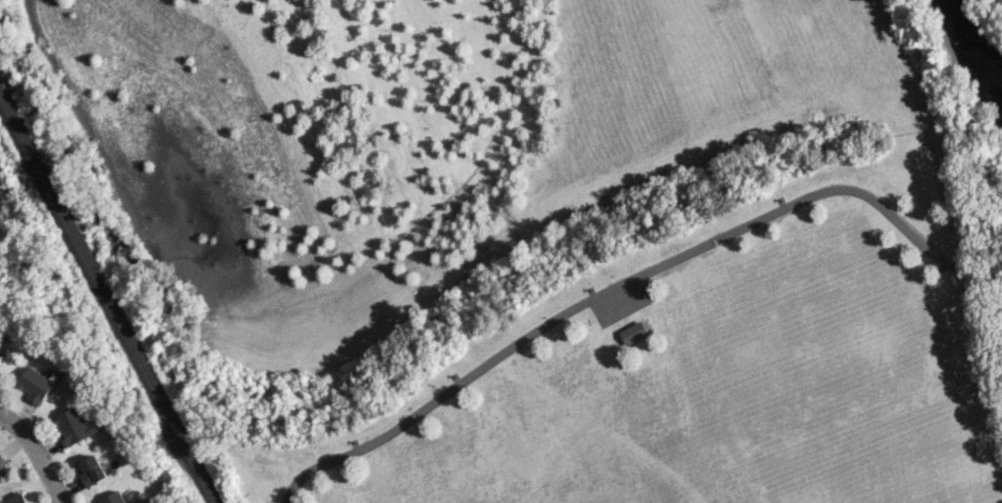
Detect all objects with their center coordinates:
park: (553, 241)
road: (924, 243)
railway: (107, 300)
road: (539, 332)
building: (632, 333)
park: (815, 347)
building: (1, 356)
building: (35, 384)
building: (75, 426)
road: (37, 456)
building: (2, 462)
park: (882, 462)
building: (92, 470)
building: (16, 498)
building: (114, 498)

